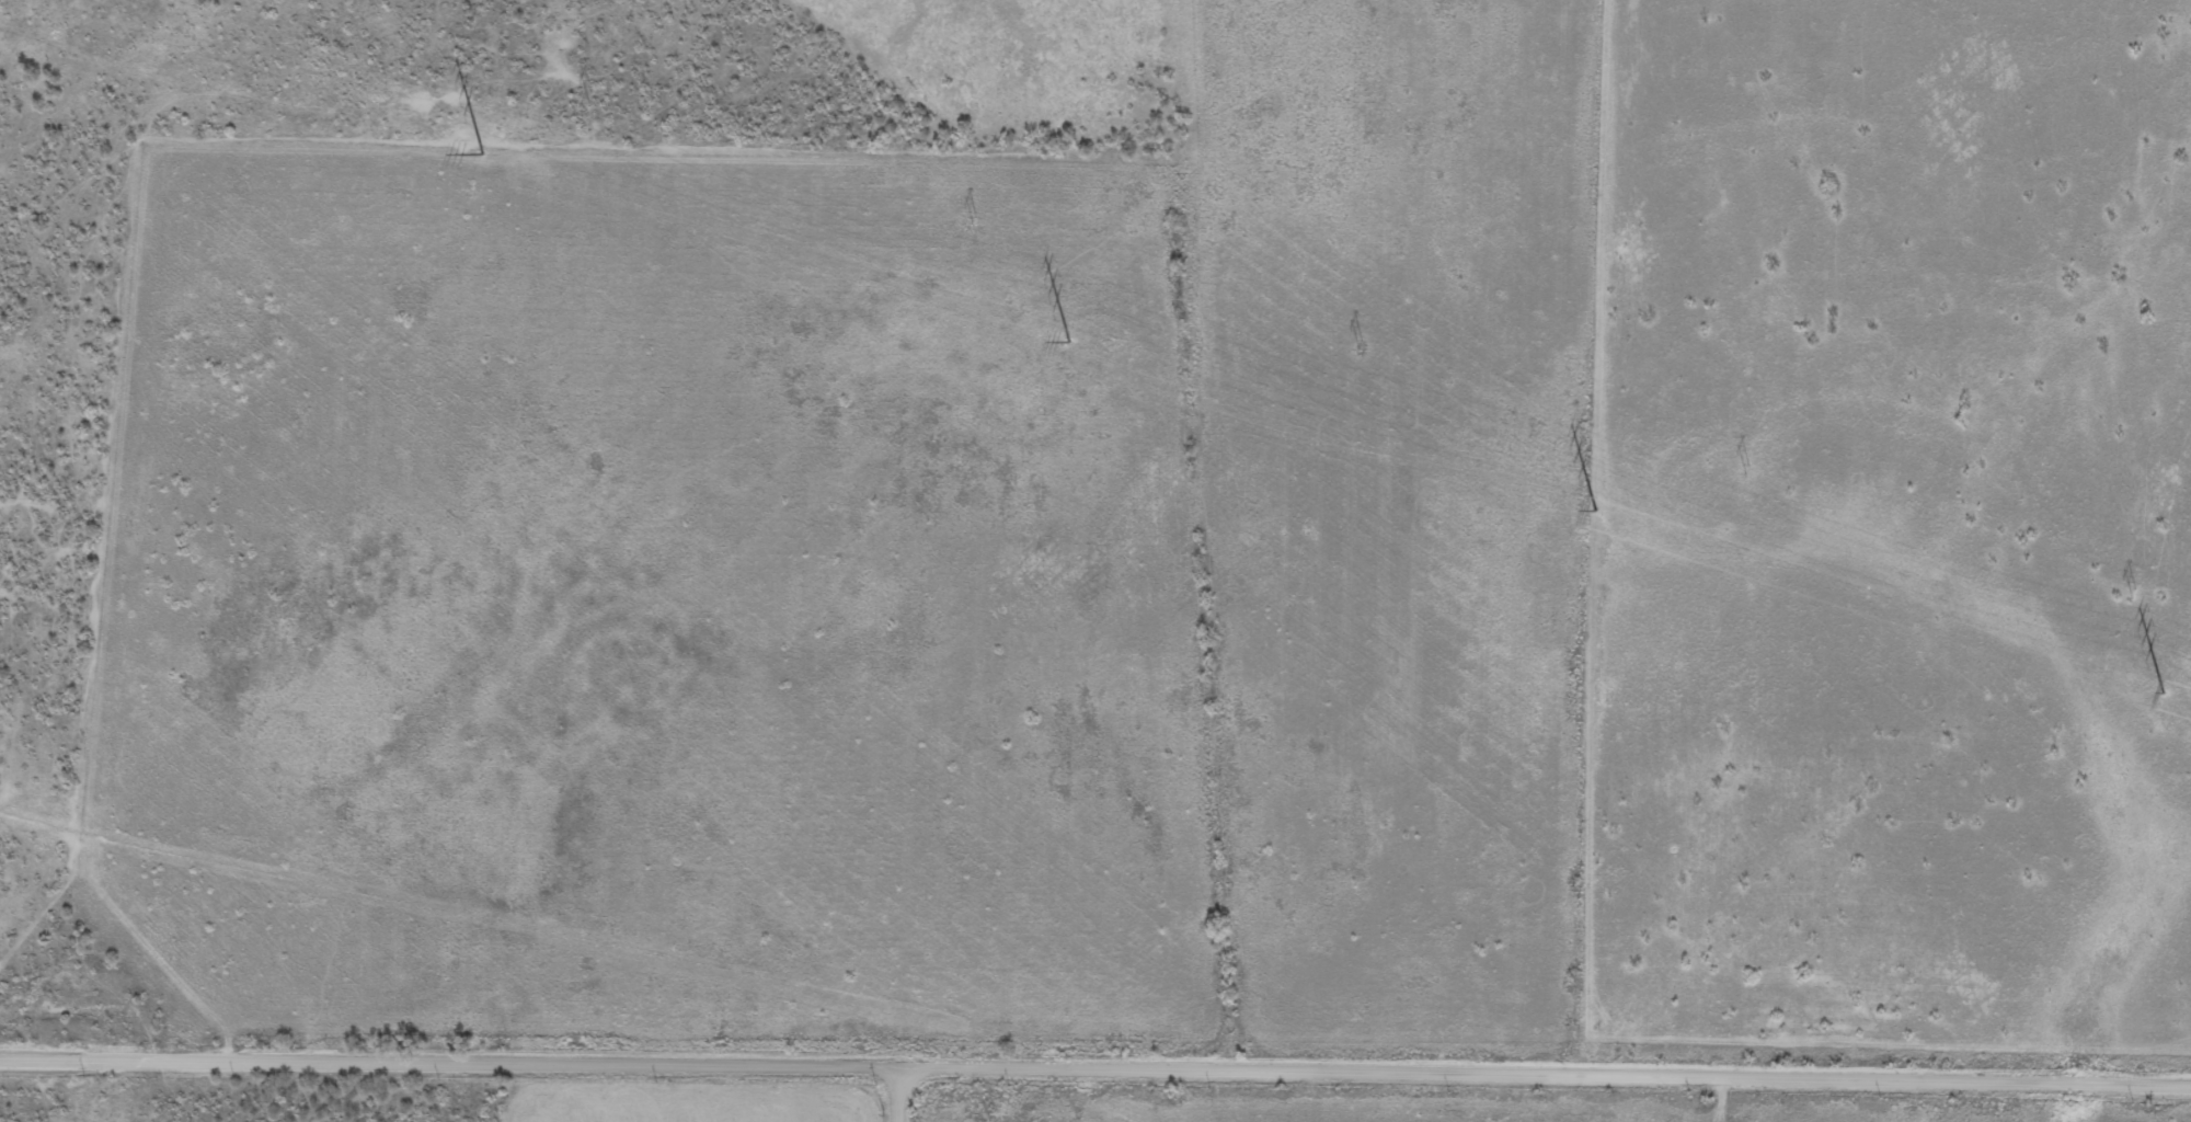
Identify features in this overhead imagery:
power tower: (587, 96)
power tower: (481, 152)
power tower: (972, 221)
power tower: (1068, 341)
power tower: (1358, 344)
power tower: (1746, 469)
power tower: (1595, 508)
power tower: (2133, 594)
power tower: (2163, 691)
road: (1095, 1066)
road: (899, 1092)

